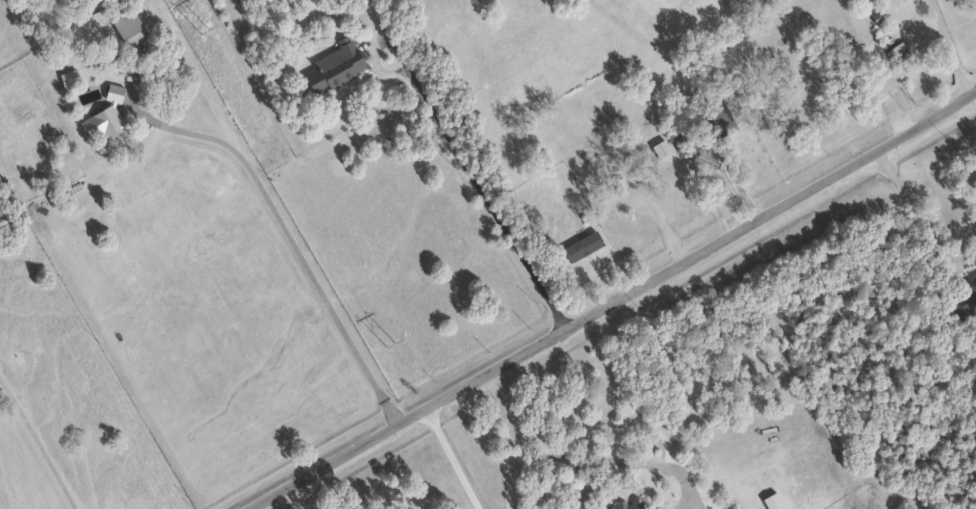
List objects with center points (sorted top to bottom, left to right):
building: (875, 1)
building: (688, 5)
building: (126, 26)
road: (954, 47)
building: (333, 67)
building: (719, 84)
building: (103, 117)
building: (718, 117)
building: (684, 144)
building: (659, 147)
road: (466, 167)
road: (734, 179)
road: (584, 203)
road: (919, 212)
road: (290, 238)
building: (575, 249)
building: (965, 299)
road: (615, 302)
road: (39, 442)
road: (456, 458)
road: (581, 460)
road: (508, 463)
road: (297, 498)
building: (625, 504)

